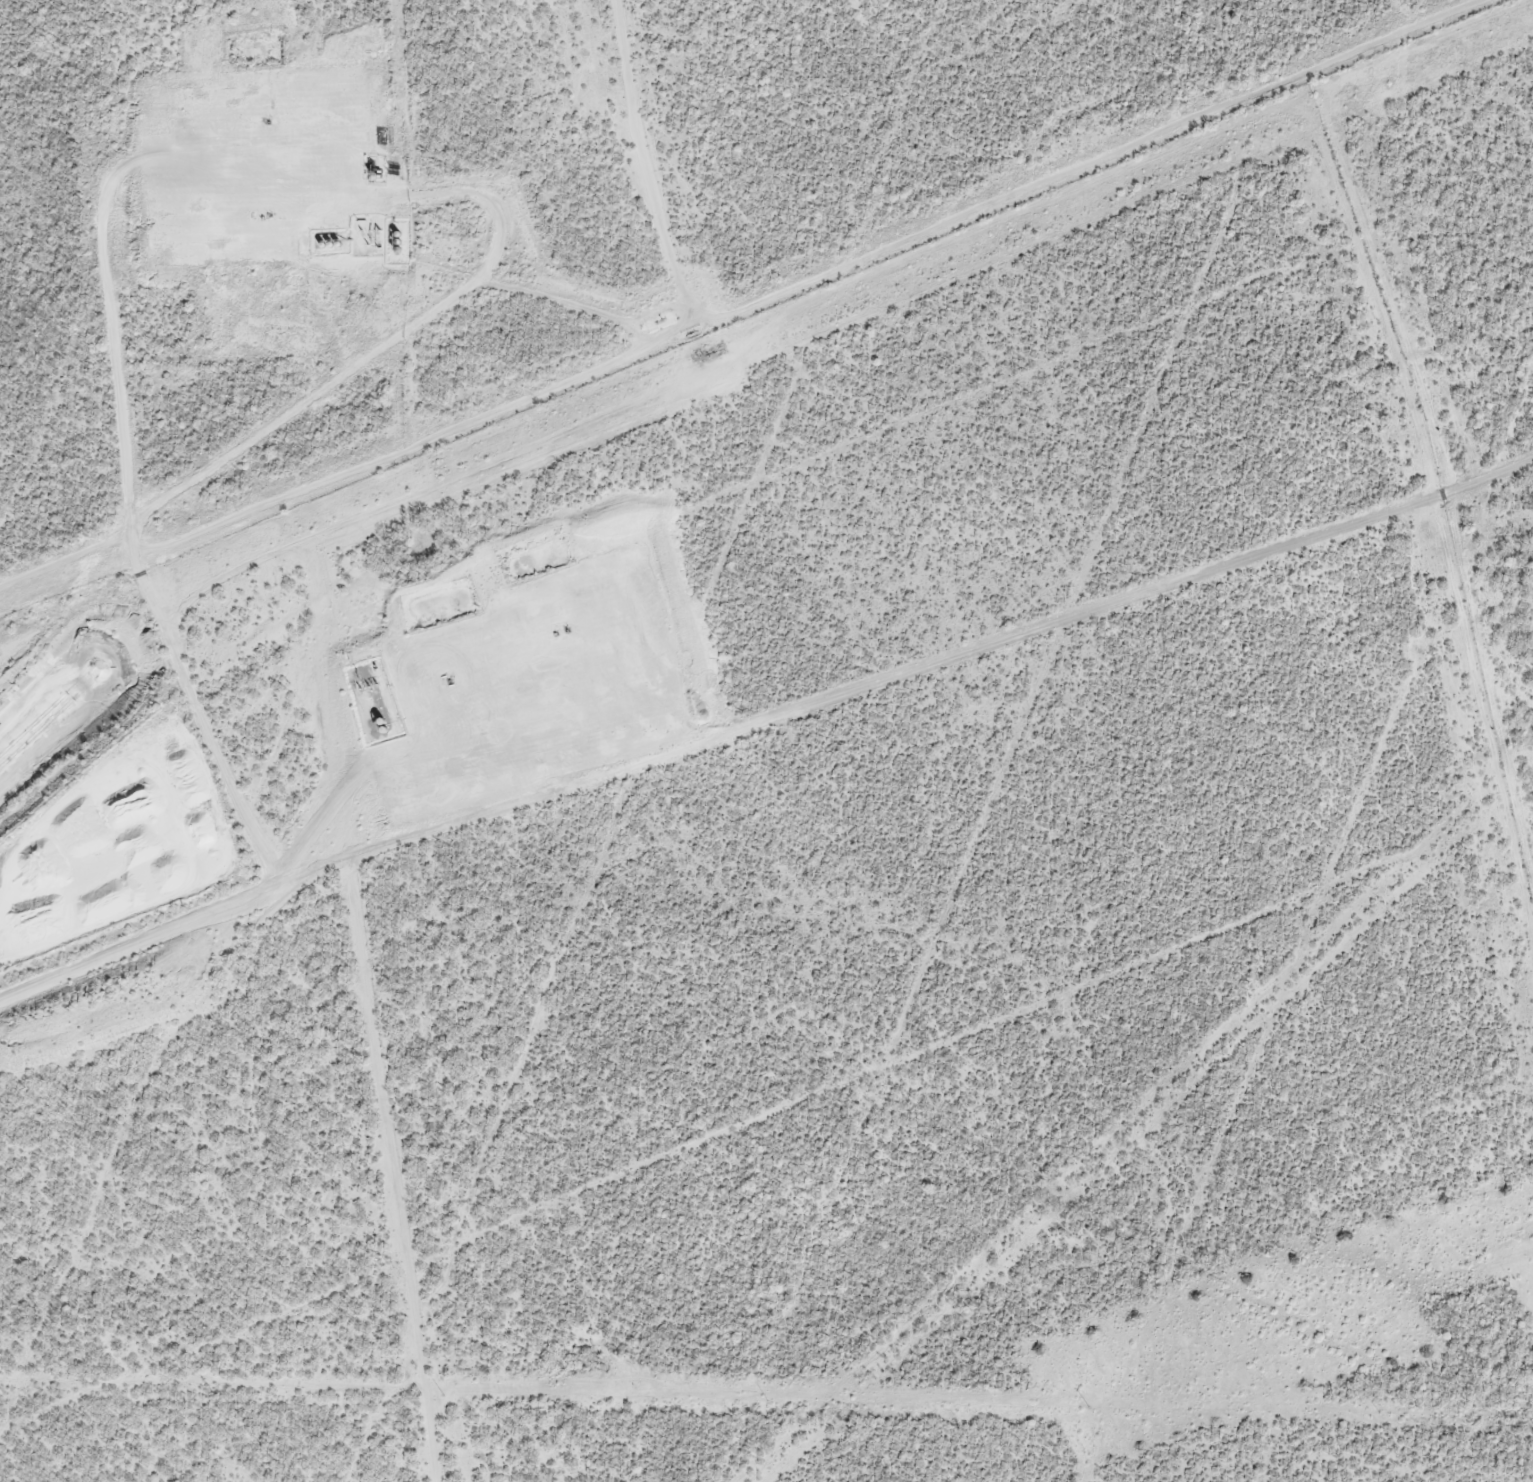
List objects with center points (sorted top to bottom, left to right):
road: (118, 316)
road: (922, 660)
railway: (40, 710)
railway: (46, 721)
road: (399, 747)

